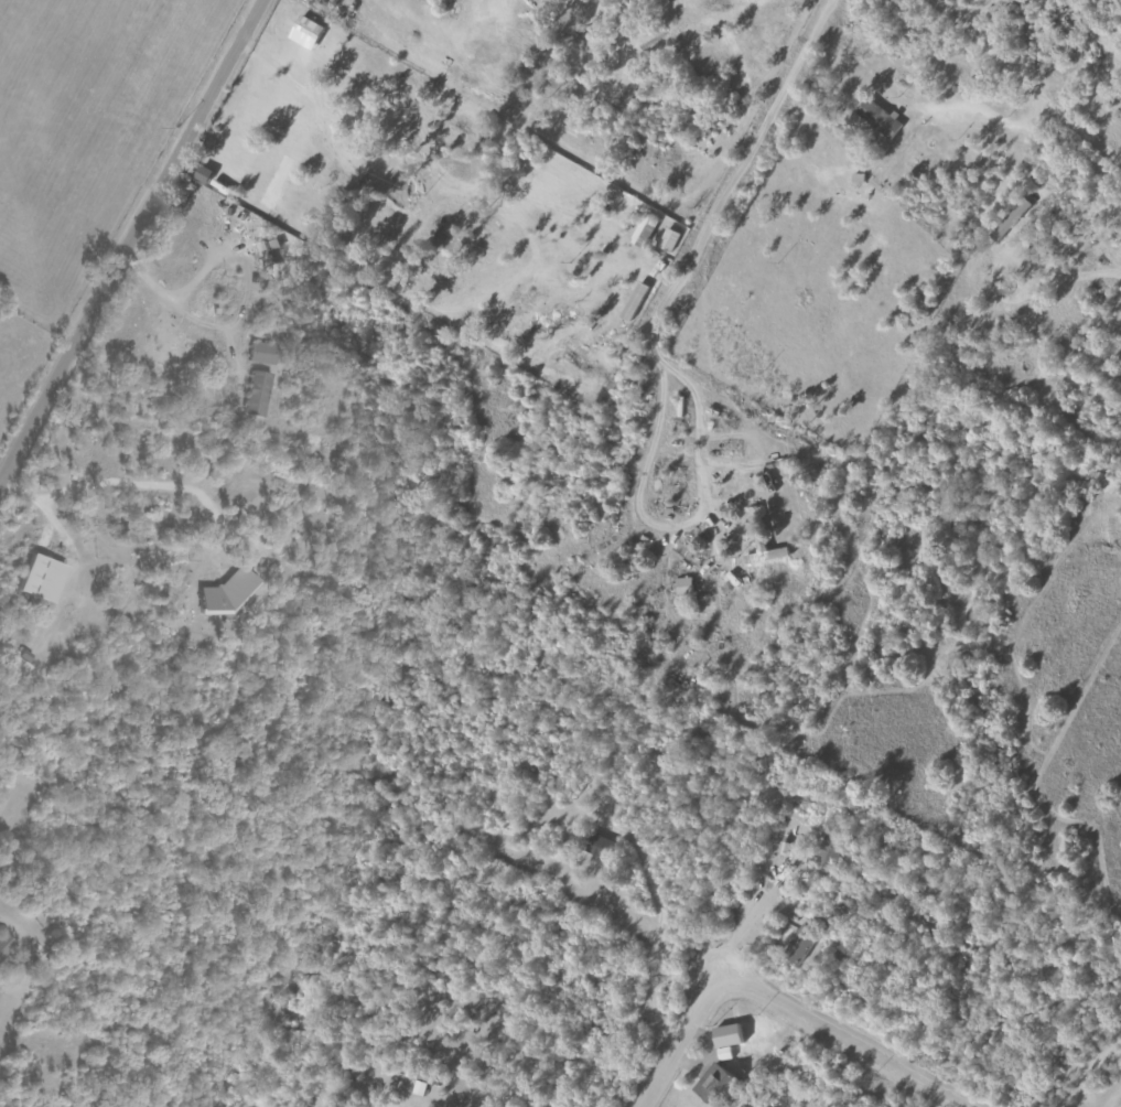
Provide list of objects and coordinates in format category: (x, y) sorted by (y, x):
road: (1107, 29)
road: (1024, 35)
building: (875, 119)
road: (1039, 170)
road: (736, 179)
building: (1009, 219)
building: (643, 232)
building: (668, 239)
road: (131, 243)
building: (632, 301)
road: (237, 309)
building: (176, 340)
building: (259, 353)
building: (254, 394)
road: (142, 485)
road: (673, 525)
building: (36, 578)
building: (681, 585)
building: (219, 595)
building: (19, 663)
building: (597, 846)
building: (827, 849)
road: (752, 905)
building: (799, 944)
road: (770, 1001)
building: (724, 1035)
building: (723, 1053)
building: (711, 1084)
building: (419, 1087)

